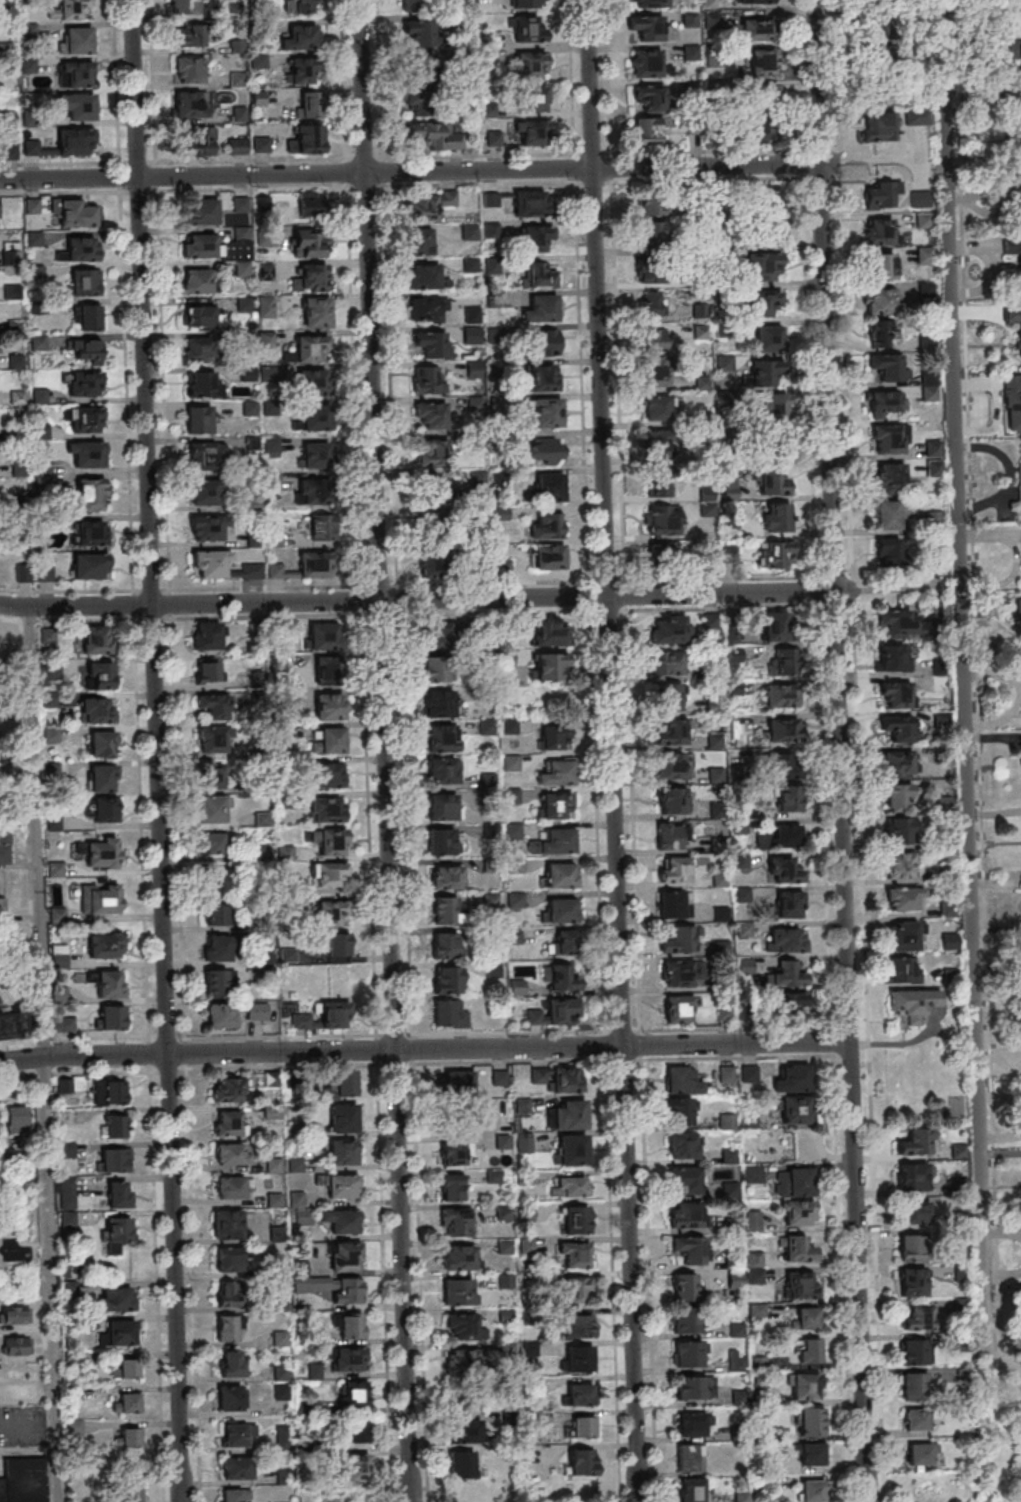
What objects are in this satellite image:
building: (755, 1)
building: (887, 1)
building: (526, 3)
building: (650, 3)
building: (1017, 3)
building: (187, 6)
building: (303, 6)
building: (71, 10)
building: (652, 27)
building: (529, 28)
building: (756, 29)
building: (29, 31)
building: (190, 35)
building: (431, 36)
building: (301, 38)
building: (76, 39)
building: (1013, 50)
building: (885, 57)
building: (762, 61)
building: (650, 64)
building: (1020, 64)
building: (529, 66)
building: (189, 69)
building: (301, 71)
building: (1019, 73)
building: (76, 74)
road: (798, 76)
building: (237, 79)
building: (765, 95)
building: (648, 96)
building: (534, 98)
road: (981, 98)
building: (190, 104)
building: (310, 104)
building: (77, 105)
building: (241, 114)
building: (1019, 120)
building: (881, 124)
building: (648, 130)
building: (532, 132)
building: (434, 134)
building: (310, 139)
building: (197, 141)
building: (67, 143)
building: (261, 144)
building: (237, 145)
building: (1020, 147)
road: (868, 160)
road: (801, 165)
road: (409, 170)
building: (1016, 186)
building: (883, 195)
building: (241, 203)
building: (432, 203)
building: (530, 203)
building: (310, 204)
building: (646, 205)
building: (508, 207)
building: (0, 210)
building: (200, 211)
building: (75, 213)
building: (881, 231)
building: (469, 232)
building: (650, 234)
building: (537, 238)
building: (421, 241)
building: (310, 243)
building: (213, 247)
building: (80, 248)
building: (12, 251)
building: (1013, 253)
building: (924, 255)
building: (764, 265)
building: (882, 267)
building: (654, 272)
building: (541, 274)
building: (314, 276)
building: (423, 276)
building: (198, 280)
building: (84, 282)
road: (823, 296)
building: (879, 300)
building: (766, 302)
building: (650, 304)
building: (429, 309)
building: (541, 309)
building: (316, 311)
building: (473, 315)
building: (89, 317)
building: (203, 317)
building: (1018, 332)
building: (880, 333)
building: (472, 334)
building: (769, 337)
building: (654, 341)
building: (546, 342)
building: (432, 344)
building: (199, 351)
building: (312, 351)
building: (86, 352)
building: (15, 362)
building: (889, 367)
building: (769, 372)
building: (654, 373)
building: (543, 377)
road: (807, 378)
building: (427, 379)
building: (84, 383)
building: (314, 383)
building: (206, 384)
building: (930, 386)
building: (887, 402)
building: (1013, 403)
building: (657, 407)
building: (772, 410)
building: (546, 412)
building: (431, 415)
building: (86, 419)
building: (198, 419)
building: (316, 419)
building: (887, 439)
building: (659, 445)
building: (776, 448)
building: (546, 451)
building: (432, 452)
building: (87, 453)
building: (315, 454)
building: (206, 455)
building: (891, 478)
building: (778, 480)
building: (660, 482)
building: (432, 486)
building: (549, 486)
building: (1020, 491)
building: (204, 492)
building: (316, 493)
building: (91, 494)
building: (706, 494)
building: (893, 513)
building: (776, 516)
building: (664, 519)
building: (547, 525)
building: (434, 526)
building: (322, 527)
building: (205, 528)
building: (93, 532)
building: (730, 554)
building: (775, 554)
building: (892, 554)
building: (550, 556)
building: (661, 558)
building: (316, 564)
building: (435, 564)
building: (90, 566)
building: (222, 566)
building: (276, 571)
road: (884, 591)
road: (816, 592)
road: (416, 600)
building: (894, 623)
building: (779, 625)
building: (668, 630)
building: (439, 633)
building: (550, 634)
building: (208, 636)
building: (322, 636)
building: (96, 639)
building: (894, 657)
building: (783, 661)
building: (667, 662)
building: (549, 666)
building: (437, 668)
building: (329, 669)
building: (208, 671)
building: (50, 673)
building: (100, 675)
road: (153, 693)
building: (898, 694)
building: (781, 695)
building: (668, 696)
road: (962, 697)
building: (439, 703)
building: (214, 706)
building: (329, 706)
building: (97, 709)
building: (899, 727)
building: (783, 729)
building: (672, 731)
building: (52, 734)
building: (555, 737)
building: (444, 738)
building: (329, 739)
building: (213, 740)
building: (102, 744)
road: (383, 751)
road: (611, 751)
building: (511, 762)
building: (898, 762)
building: (673, 765)
building: (788, 766)
building: (445, 770)
building: (557, 773)
building: (327, 774)
building: (102, 777)
building: (213, 777)
building: (897, 794)
building: (513, 796)
building: (788, 797)
building: (672, 800)
building: (555, 805)
building: (444, 807)
building: (327, 809)
building: (105, 810)
building: (211, 811)
building: (516, 830)
building: (899, 830)
building: (673, 835)
building: (784, 835)
building: (441, 841)
building: (333, 842)
building: (555, 842)
building: (212, 844)
building: (5, 848)
building: (101, 852)
building: (899, 865)
building: (675, 868)
building: (784, 870)
building: (329, 874)
building: (560, 875)
building: (448, 876)
building: (218, 877)
building: (905, 897)
building: (102, 898)
building: (517, 900)
building: (674, 904)
building: (789, 904)
building: (2, 907)
building: (562, 909)
building: (445, 910)
building: (216, 913)
building: (332, 913)
building: (904, 936)
building: (787, 939)
building: (678, 940)
building: (566, 941)
building: (949, 941)
building: (338, 944)
building: (105, 945)
building: (447, 945)
building: (217, 947)
building: (60, 956)
building: (905, 970)
building: (677, 973)
building: (788, 973)
building: (564, 977)
building: (447, 979)
building: (216, 983)
building: (109, 984)
building: (795, 1003)
building: (914, 1003)
building: (678, 1009)
building: (563, 1010)
building: (449, 1014)
building: (323, 1016)
building: (111, 1017)
building: (222, 1017)
building: (64, 1023)
building: (10, 1028)
road: (848, 1047)
road: (423, 1049)
road: (830, 1053)
road: (40, 1054)
building: (727, 1073)
building: (749, 1073)
building: (499, 1077)
building: (560, 1078)
building: (793, 1078)
building: (683, 1079)
building: (458, 1082)
building: (343, 1084)
building: (227, 1089)
building: (109, 1092)
building: (797, 1109)
building: (681, 1110)
building: (569, 1114)
building: (343, 1118)
building: (16, 1119)
building: (727, 1121)
building: (229, 1123)
building: (750, 1123)
building: (118, 1126)
building: (917, 1141)
building: (523, 1142)
building: (683, 1145)
building: (572, 1149)
building: (343, 1151)
building: (231, 1153)
building: (455, 1153)
building: (729, 1155)
building: (116, 1160)
building: (752, 1173)
building: (914, 1175)
building: (685, 1180)
building: (794, 1181)
building: (341, 1185)
building: (453, 1186)
building: (568, 1186)
building: (230, 1187)
building: (67, 1192)
building: (118, 1194)
building: (797, 1212)
building: (912, 1213)
building: (687, 1215)
building: (577, 1219)
building: (340, 1220)
building: (753, 1220)
building: (457, 1221)
building: (227, 1223)
building: (119, 1227)
road: (1002, 1231)
building: (910, 1247)
park: (19, 1248)
building: (798, 1248)
building: (691, 1249)
building: (345, 1254)
building: (574, 1254)
building: (460, 1257)
building: (228, 1259)
building: (754, 1267)
road: (1003, 1274)
building: (914, 1281)
building: (311, 1284)
building: (802, 1284)
building: (577, 1288)
building: (688, 1288)
building: (348, 1291)
building: (459, 1291)
building: (227, 1294)
building: (116, 1298)
building: (757, 1311)
building: (14, 1314)
building: (917, 1317)
building: (807, 1318)
building: (687, 1323)
building: (350, 1325)
building: (576, 1325)
building: (465, 1326)
building: (226, 1327)
building: (120, 1332)
building: (280, 1338)
building: (17, 1346)
building: (808, 1350)
building: (914, 1352)
building: (689, 1353)
building: (577, 1358)
building: (350, 1359)
building: (462, 1361)
building: (232, 1363)
building: (126, 1369)
building: (805, 1386)
building: (915, 1386)
building: (694, 1387)
building: (281, 1392)
building: (354, 1394)
building: (581, 1394)
building: (230, 1398)
building: (127, 1402)
building: (917, 1419)
building: (810, 1421)
building: (693, 1423)
building: (583, 1426)
building: (358, 1429)
building: (466, 1430)
building: (238, 1432)
building: (283, 1436)
building: (128, 1437)
road: (179, 1444)
building: (811, 1453)
building: (922, 1453)
building: (691, 1457)
building: (582, 1461)
building: (463, 1464)
building: (357, 1467)
building: (237, 1468)
building: (24, 1480)
building: (692, 1490)
building: (811, 1490)
building: (131, 1492)
building: (235, 1494)

